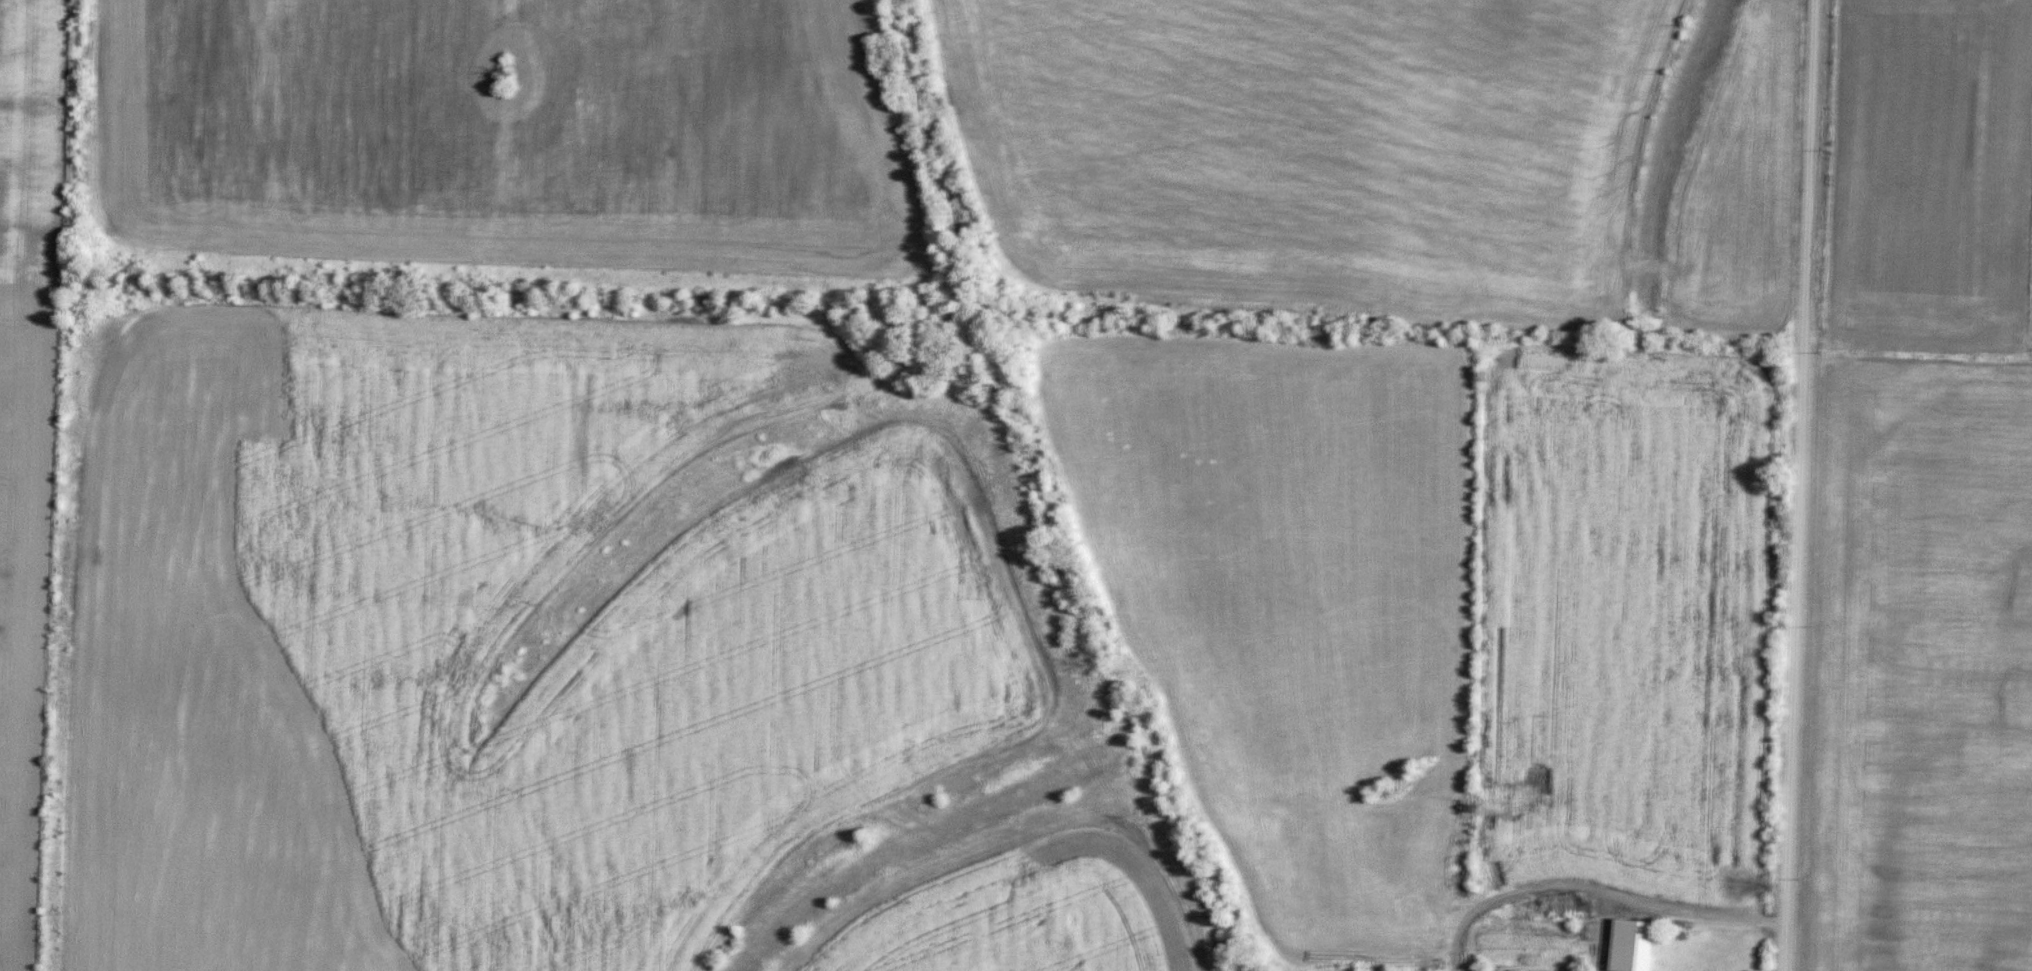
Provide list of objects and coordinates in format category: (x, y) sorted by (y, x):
road: (1972, 39)
road: (1960, 66)
road: (1801, 485)
road: (1598, 891)
building: (1596, 944)

